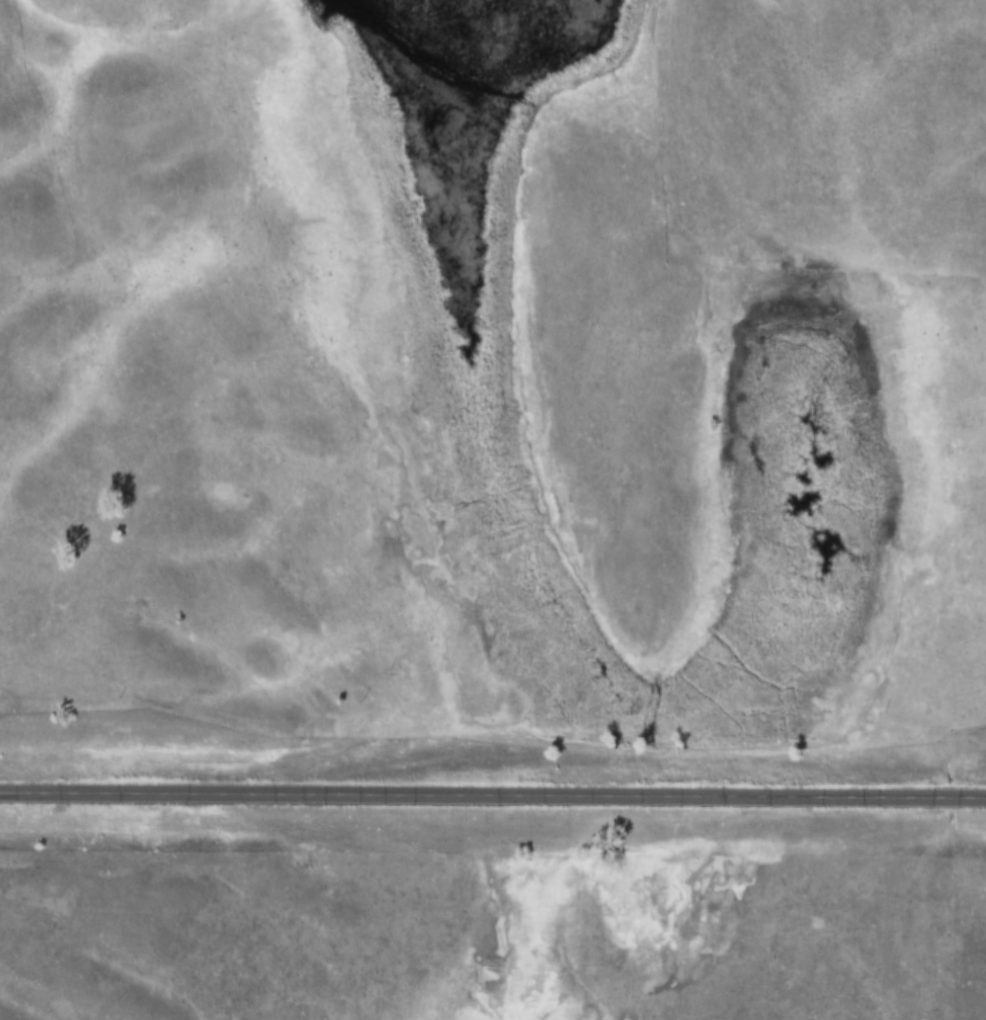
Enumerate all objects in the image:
road: (493, 794)

